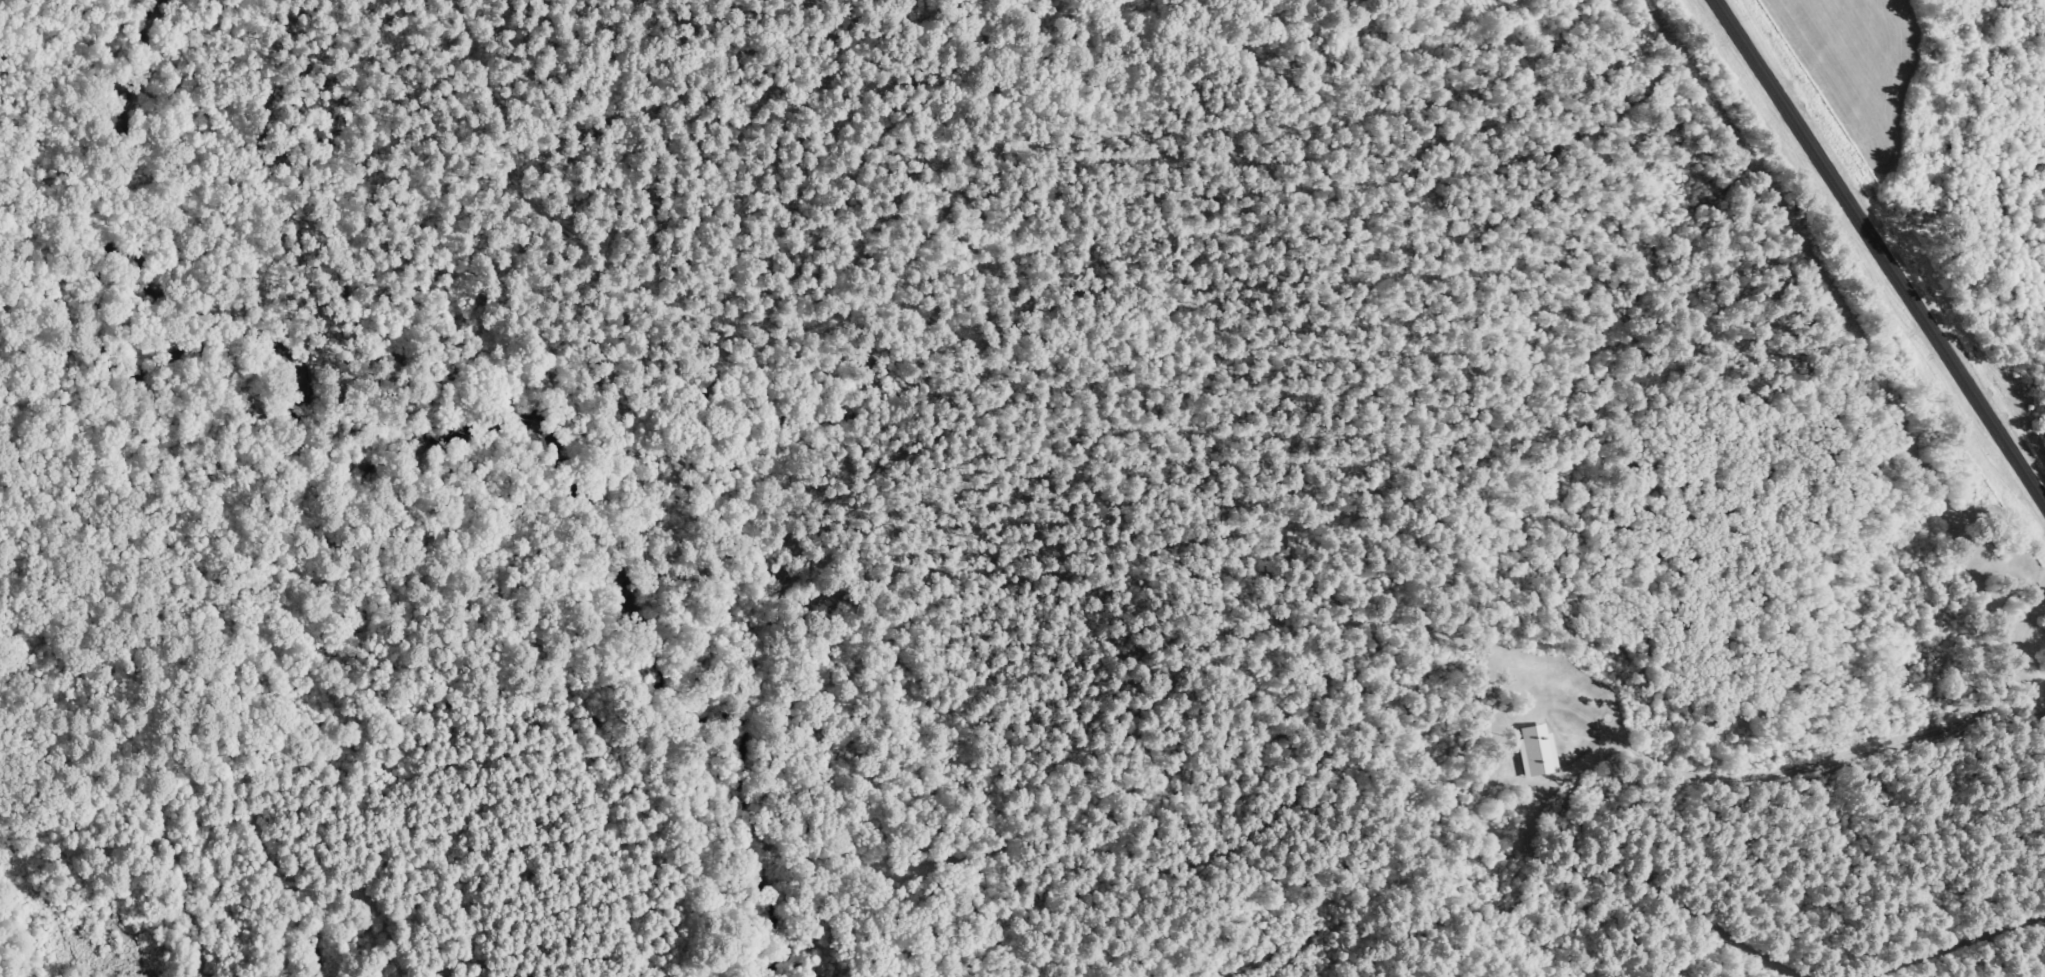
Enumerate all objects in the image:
road: (1878, 253)
building: (1539, 752)

